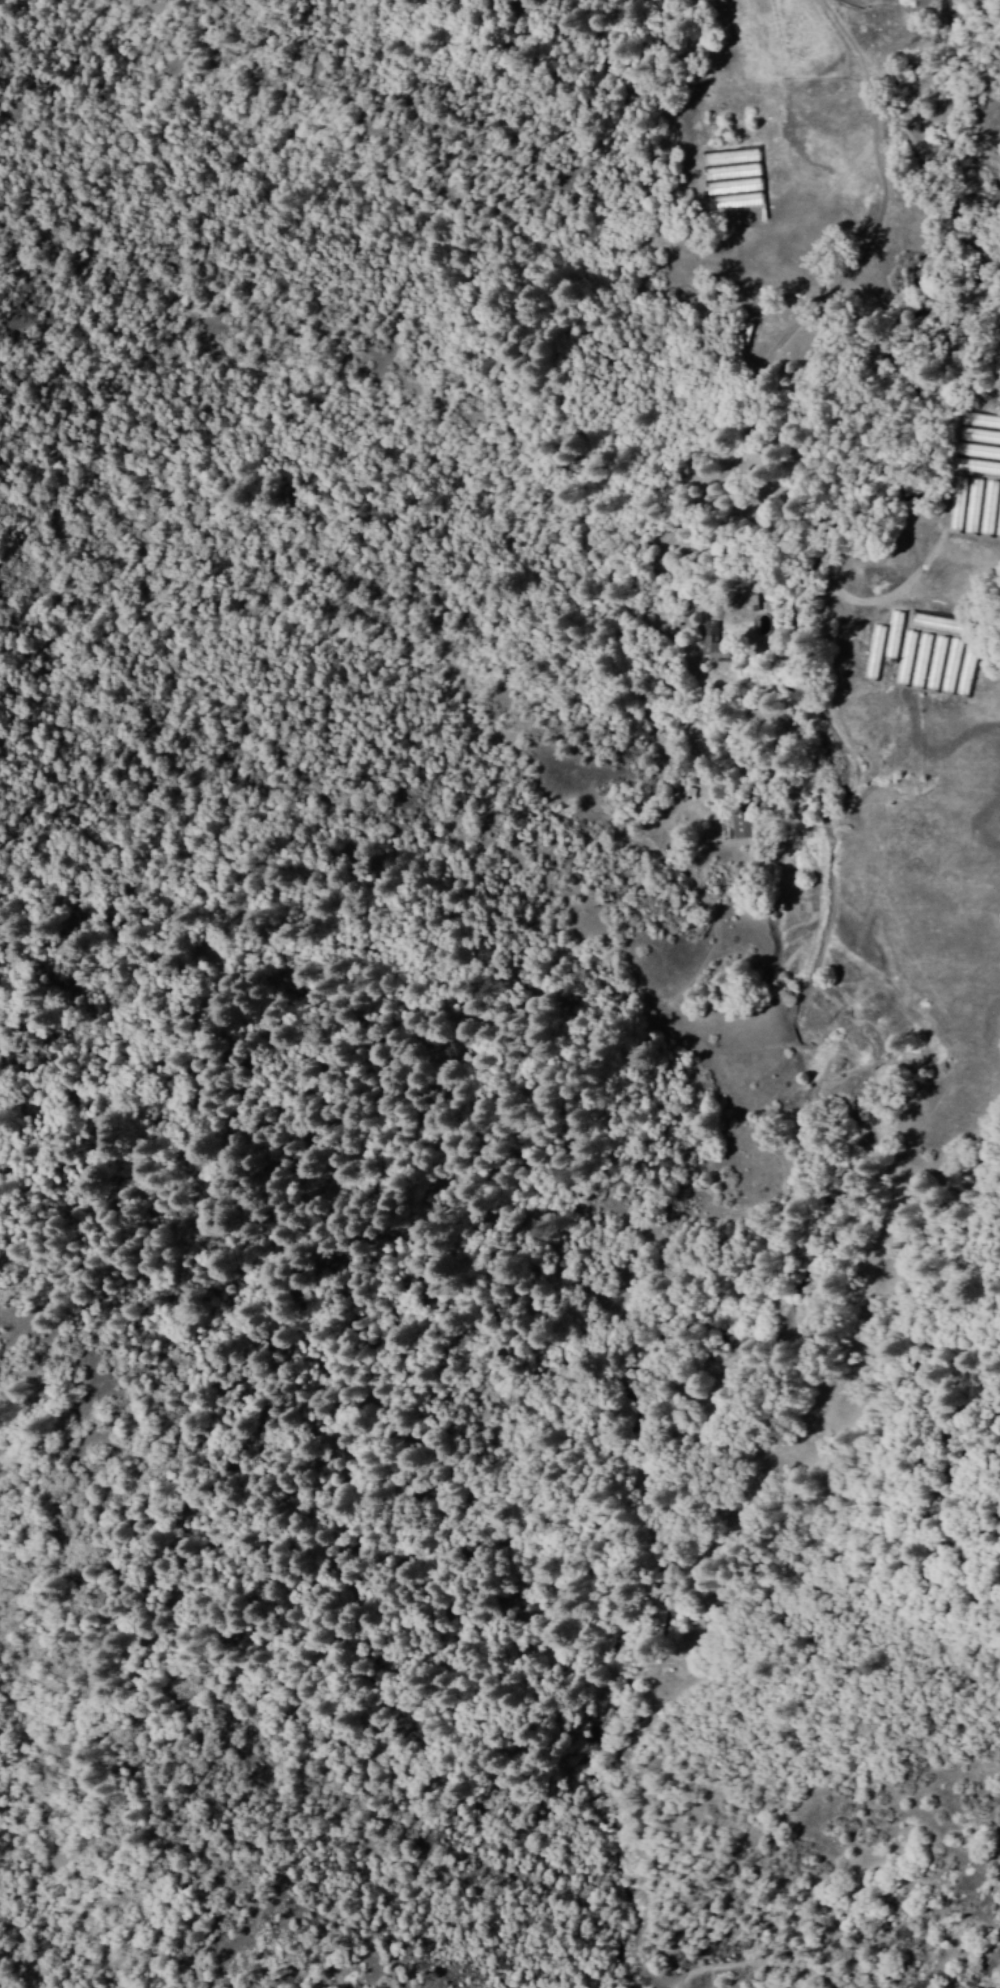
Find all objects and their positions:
road: (995, 7)
building: (713, 643)
building: (742, 826)
road: (740, 1964)

